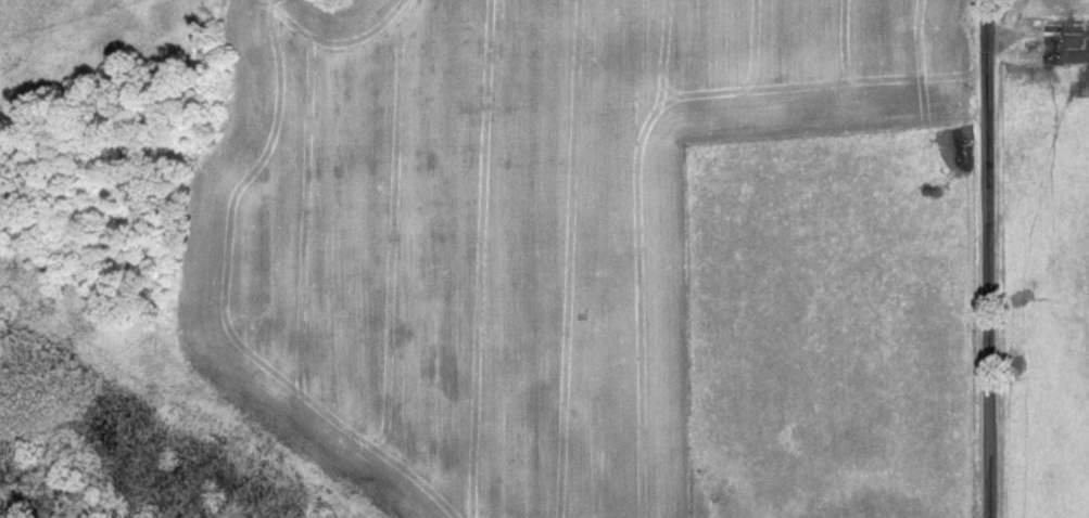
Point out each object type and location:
road: (984, 259)

